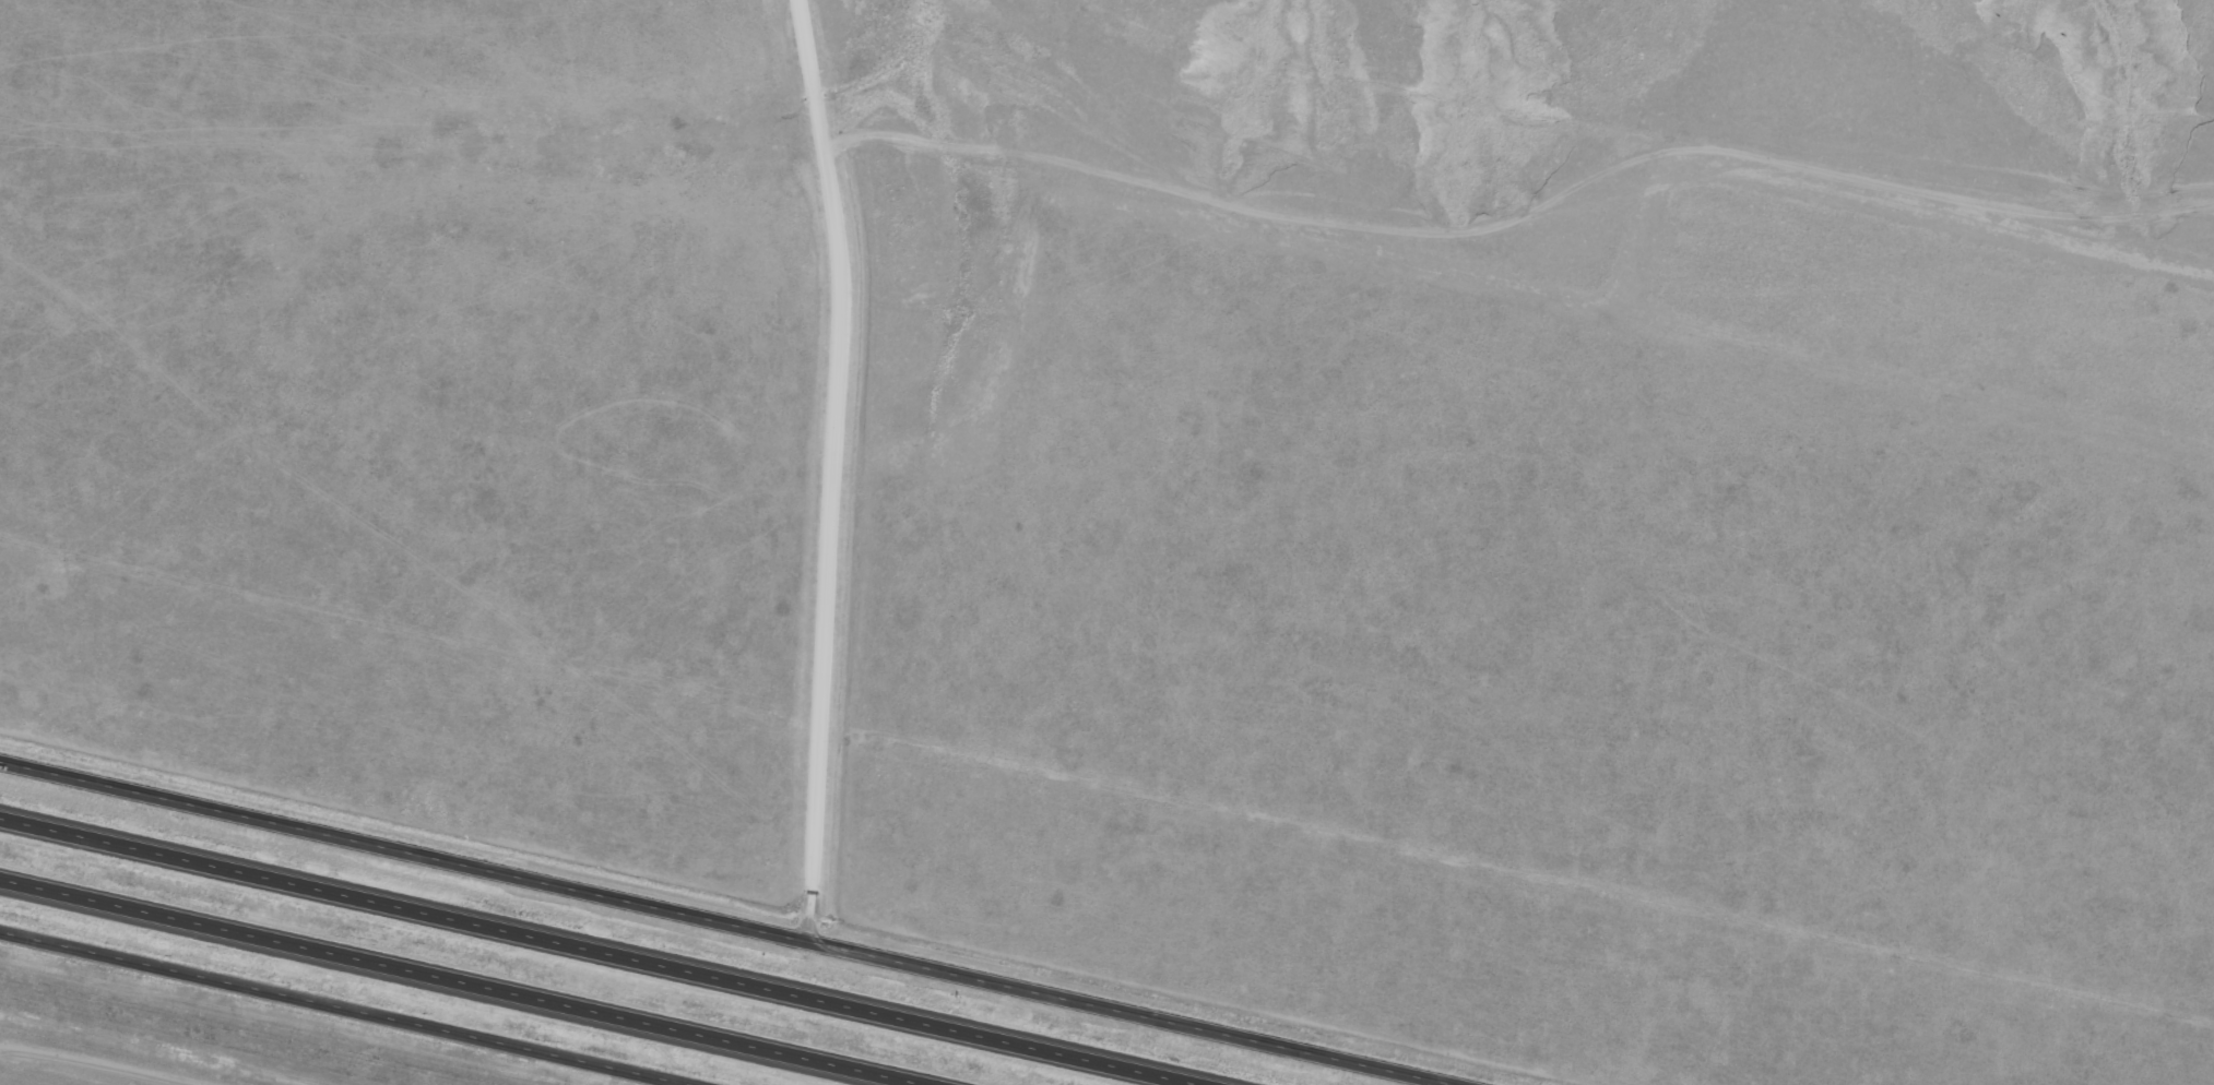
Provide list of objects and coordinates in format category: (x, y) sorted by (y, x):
road: (838, 467)
road: (739, 921)
road: (607, 949)
road: (471, 979)
road: (347, 1006)

